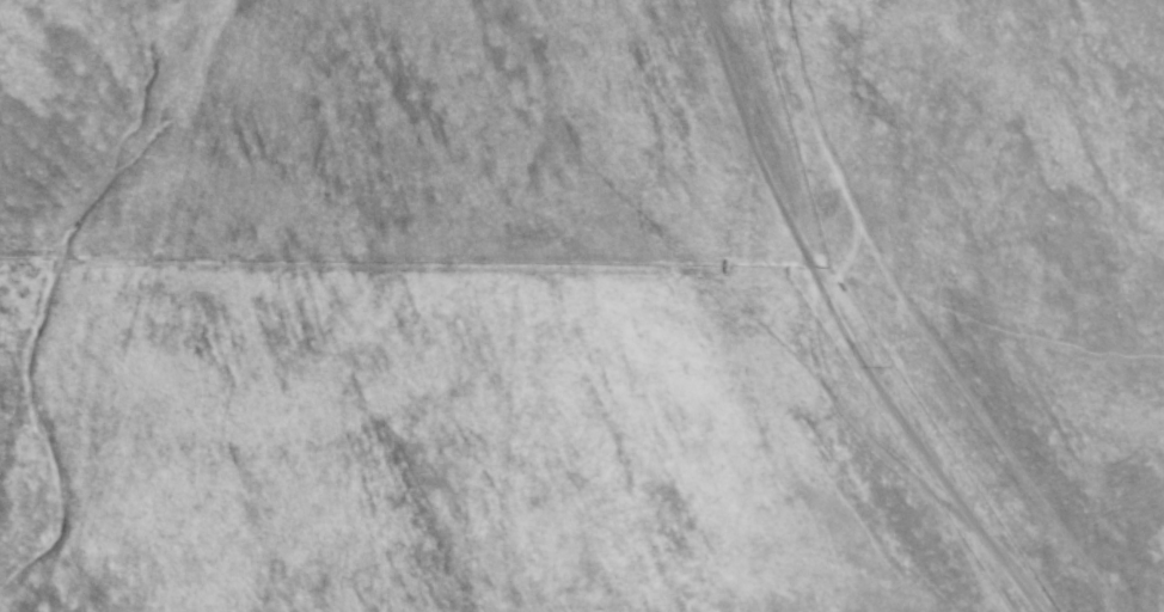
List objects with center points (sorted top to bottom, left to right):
road: (811, 330)

